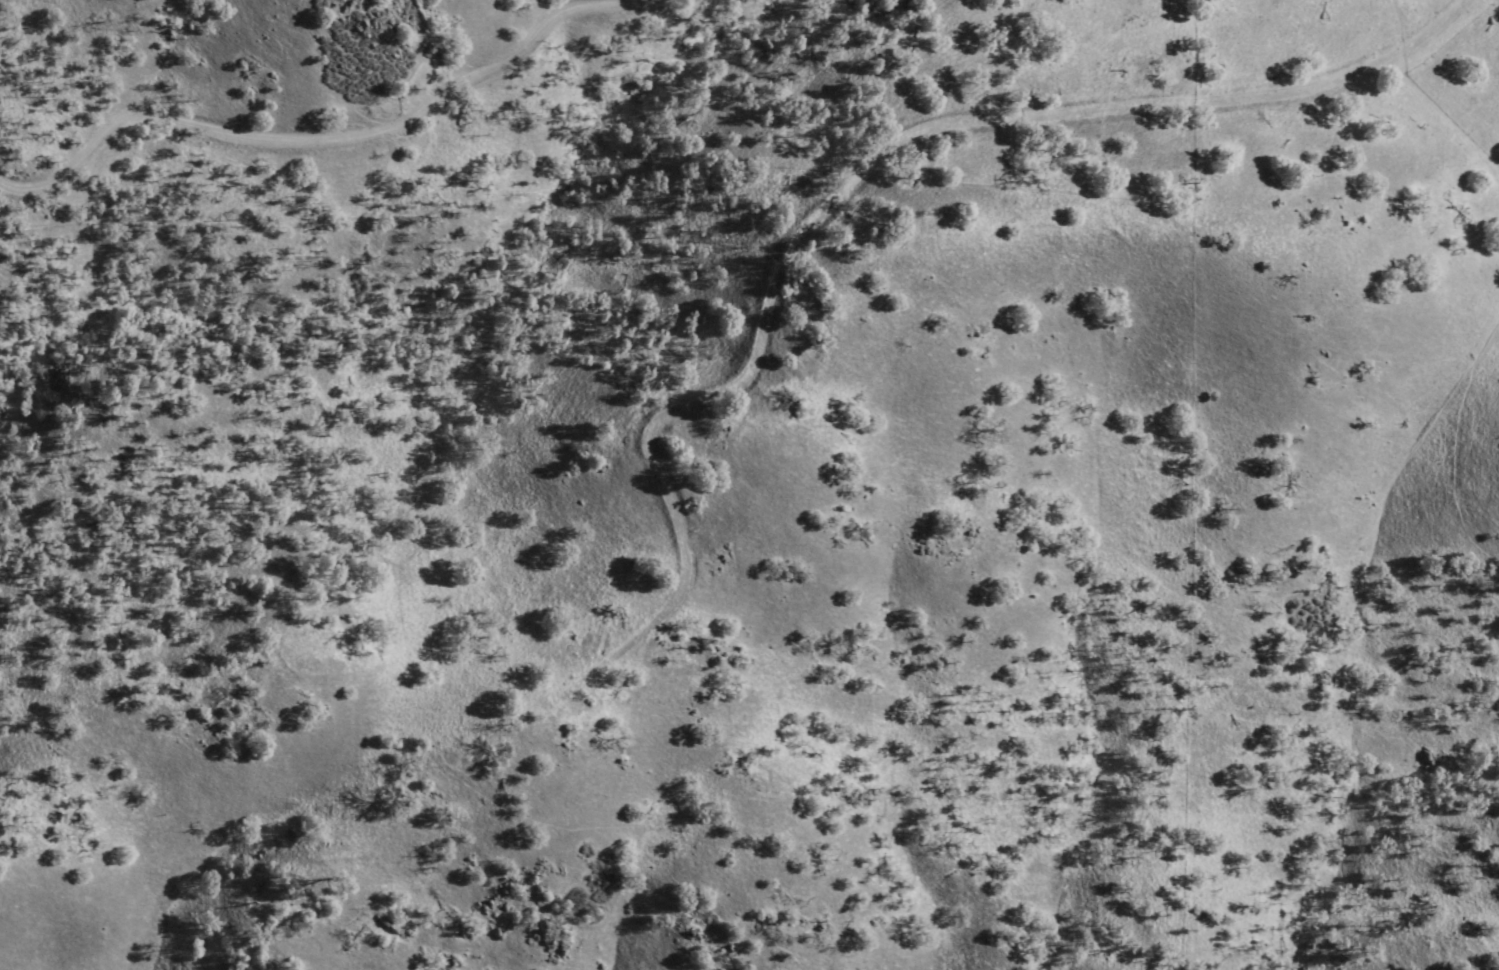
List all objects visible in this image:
road: (339, 147)
road: (902, 206)

